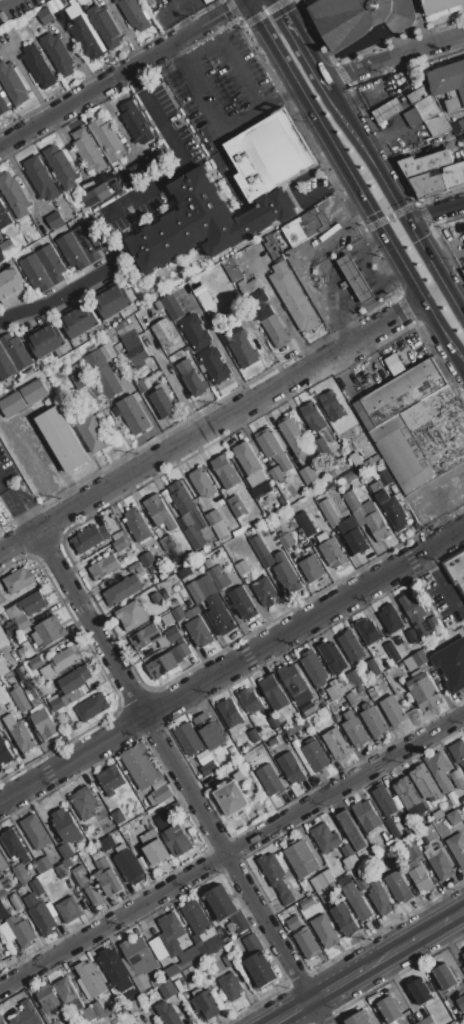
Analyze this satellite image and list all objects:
road: (6, 3)
building: (440, 5)
building: (134, 14)
building: (45, 16)
building: (360, 21)
building: (104, 25)
building: (84, 38)
road: (298, 45)
road: (226, 53)
building: (57, 54)
road: (392, 57)
building: (37, 66)
road: (121, 74)
road: (134, 79)
building: (12, 84)
building: (449, 84)
parking lot: (220, 87)
road: (191, 88)
building: (418, 95)
building: (3, 105)
road: (256, 107)
building: (427, 108)
building: (387, 110)
building: (135, 122)
building: (461, 123)
road: (381, 139)
building: (108, 140)
building: (87, 150)
building: (270, 155)
building: (424, 162)
road: (180, 163)
building: (61, 168)
building: (40, 179)
building: (126, 179)
building: (439, 181)
road: (355, 183)
building: (116, 186)
building: (101, 192)
road: (295, 193)
building: (14, 195)
building: (90, 198)
road: (395, 203)
road: (434, 209)
traffic signals: (372, 212)
road: (388, 216)
building: (4, 217)
building: (54, 220)
building: (204, 221)
traffic signals: (406, 222)
building: (304, 227)
building: (79, 246)
building: (8, 248)
building: (2, 254)
building: (43, 268)
building: (231, 269)
building: (355, 279)
building: (10, 285)
building: (293, 297)
road: (58, 300)
building: (112, 302)
building: (172, 307)
building: (268, 319)
building: (79, 322)
building: (196, 331)
building: (165, 333)
building: (46, 340)
building: (135, 348)
building: (243, 349)
building: (12, 356)
building: (393, 363)
building: (215, 365)
building: (103, 374)
building: (79, 377)
building: (190, 378)
building: (140, 386)
road: (176, 387)
building: (34, 391)
building: (161, 402)
building: (12, 404)
building: (332, 405)
building: (133, 415)
building: (313, 416)
building: (415, 424)
road: (212, 425)
building: (355, 426)
building: (91, 432)
building: (294, 436)
building: (62, 439)
building: (271, 448)
building: (324, 452)
building: (249, 464)
building: (360, 469)
building: (225, 471)
building: (332, 472)
building: (275, 473)
building: (307, 473)
building: (351, 475)
building: (381, 481)
road: (3, 482)
building: (203, 482)
building: (183, 500)
building: (353, 503)
road: (26, 505)
building: (236, 505)
building: (394, 508)
road: (19, 510)
building: (159, 512)
building: (329, 512)
building: (375, 521)
building: (305, 523)
building: (216, 524)
building: (137, 525)
building: (118, 535)
building: (90, 537)
building: (194, 537)
building: (285, 540)
building: (357, 541)
building: (120, 543)
building: (165, 543)
building: (330, 550)
building: (262, 553)
building: (149, 558)
building: (104, 567)
building: (241, 567)
building: (135, 568)
building: (311, 568)
building: (455, 568)
building: (284, 570)
building: (216, 575)
building: (18, 579)
road: (441, 582)
building: (122, 590)
building: (196, 591)
building: (265, 592)
building: (1, 598)
building: (156, 598)
building: (243, 602)
building: (24, 612)
building: (178, 613)
building: (220, 613)
building: (413, 613)
building: (131, 615)
building: (390, 618)
building: (167, 619)
building: (433, 622)
building: (369, 630)
building: (199, 631)
building: (48, 632)
building: (172, 634)
building: (411, 635)
building: (145, 637)
building: (163, 641)
building: (351, 645)
building: (393, 651)
building: (0, 654)
building: (333, 656)
building: (169, 660)
building: (416, 660)
building: (36, 662)
building: (60, 662)
building: (451, 664)
road: (232, 665)
building: (373, 667)
building: (313, 668)
building: (353, 678)
building: (74, 679)
building: (294, 683)
building: (345, 684)
building: (335, 689)
building: (44, 690)
building: (423, 690)
building: (273, 692)
building: (372, 693)
building: (352, 698)
building: (20, 699)
building: (250, 700)
building: (35, 702)
building: (56, 702)
building: (93, 706)
building: (307, 706)
building: (0, 708)
building: (393, 710)
building: (230, 712)
building: (65, 719)
building: (274, 721)
building: (374, 721)
building: (304, 723)
building: (44, 724)
building: (354, 729)
building: (210, 730)
building: (19, 733)
building: (254, 736)
building: (188, 738)
building: (272, 741)
building: (336, 743)
building: (4, 751)
building: (458, 751)
building: (249, 755)
building: (315, 756)
building: (205, 757)
building: (140, 766)
building: (209, 767)
building: (290, 767)
building: (439, 770)
road: (181, 776)
building: (238, 776)
building: (110, 779)
building: (456, 779)
building: (271, 780)
building: (425, 783)
road: (345, 784)
building: (161, 793)
building: (408, 793)
building: (231, 798)
building: (151, 799)
building: (384, 800)
building: (84, 802)
building: (144, 802)
building: (438, 814)
building: (118, 816)
building: (368, 817)
building: (454, 817)
building: (66, 825)
building: (393, 828)
building: (410, 829)
building: (351, 830)
building: (35, 831)
building: (430, 833)
building: (173, 835)
building: (325, 838)
building: (107, 843)
building: (14, 845)
building: (457, 847)
building: (153, 848)
building: (347, 850)
building: (412, 850)
building: (65, 851)
building: (301, 859)
building: (67, 862)
building: (439, 862)
building: (3, 864)
building: (44, 864)
building: (129, 866)
building: (61, 870)
building: (21, 874)
building: (418, 875)
building: (275, 876)
building: (106, 877)
building: (322, 880)
building: (361, 883)
building: (4, 885)
building: (88, 885)
building: (37, 887)
building: (398, 887)
building: (379, 896)
building: (356, 901)
building: (16, 902)
building: (307, 903)
building: (0, 909)
building: (68, 909)
building: (226, 909)
building: (41, 914)
building: (343, 919)
building: (198, 920)
road: (113, 922)
building: (325, 930)
building: (21, 931)
building: (300, 932)
building: (168, 936)
road: (415, 938)
building: (213, 944)
building: (200, 945)
building: (463, 951)
building: (139, 955)
building: (463, 955)
building: (0, 960)
building: (228, 960)
building: (185, 961)
building: (258, 962)
building: (114, 969)
building: (136, 975)
building: (187, 975)
building: (444, 976)
building: (90, 978)
building: (154, 983)
road: (338, 983)
building: (231, 986)
building: (168, 990)
building: (421, 990)
building: (68, 993)
building: (132, 995)
building: (49, 999)
building: (204, 1000)
building: (460, 1002)
building: (133, 1006)
building: (390, 1008)
building: (9, 1009)
building: (101, 1010)
road: (290, 1011)
building: (89, 1013)
building: (167, 1013)
building: (27, 1014)
building: (47, 1017)
building: (357, 1019)
building: (426, 1020)
building: (1, 1021)
building: (115, 1022)
building: (393, 1022)
building: (140, 1023)
building: (417, 1023)
building: (451, 1023)

